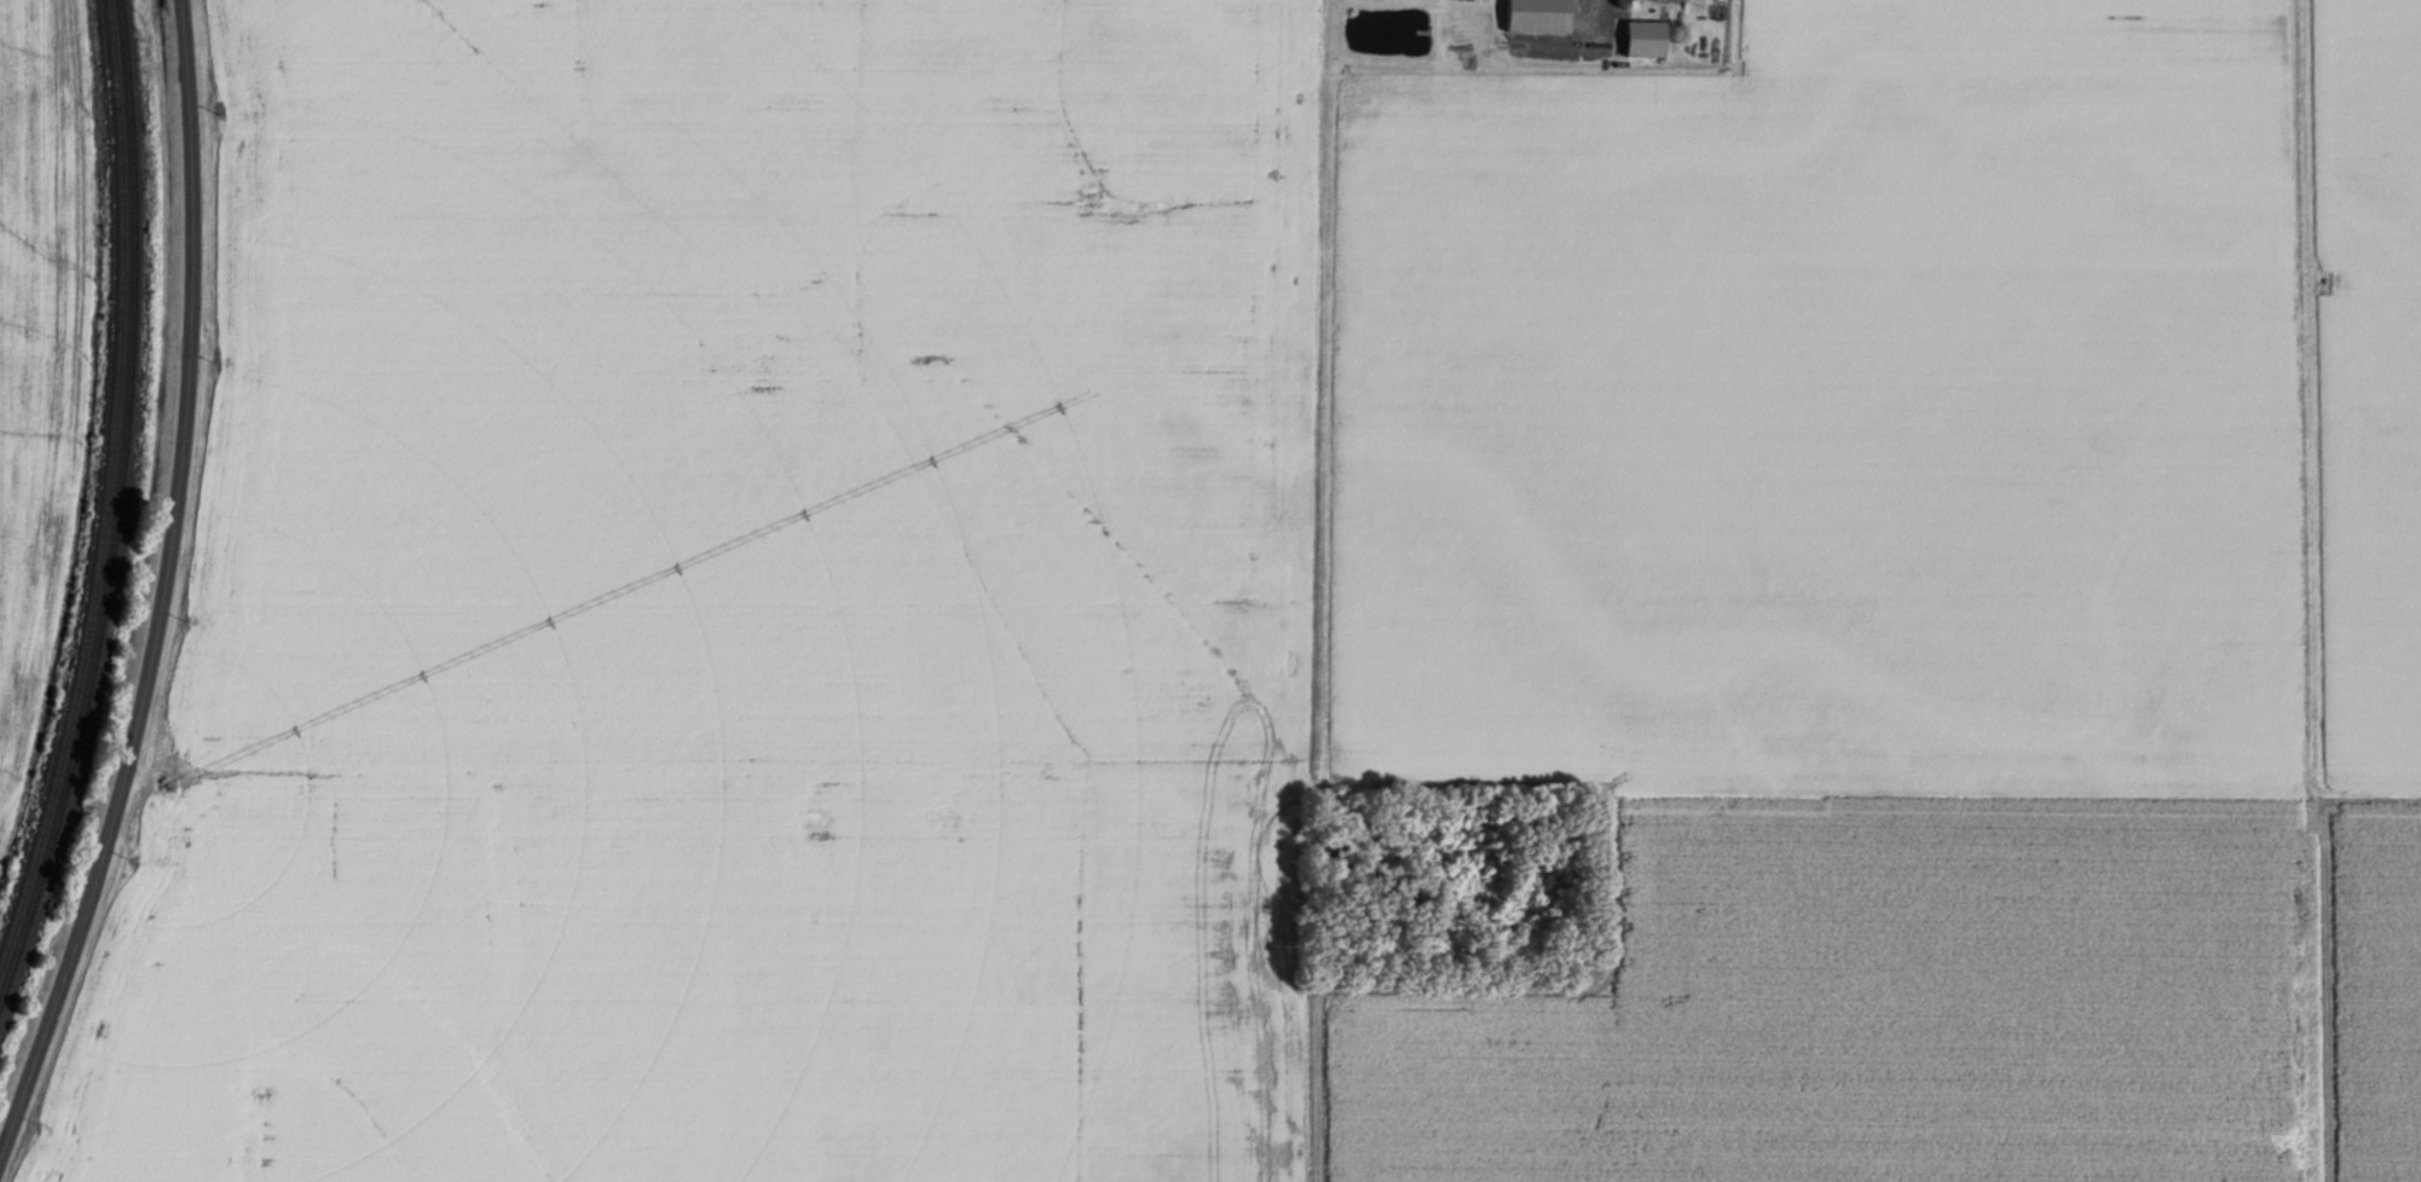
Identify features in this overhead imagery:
building: (1541, 15)
building: (1648, 36)
railway: (106, 481)
railway: (117, 506)
road: (162, 589)

